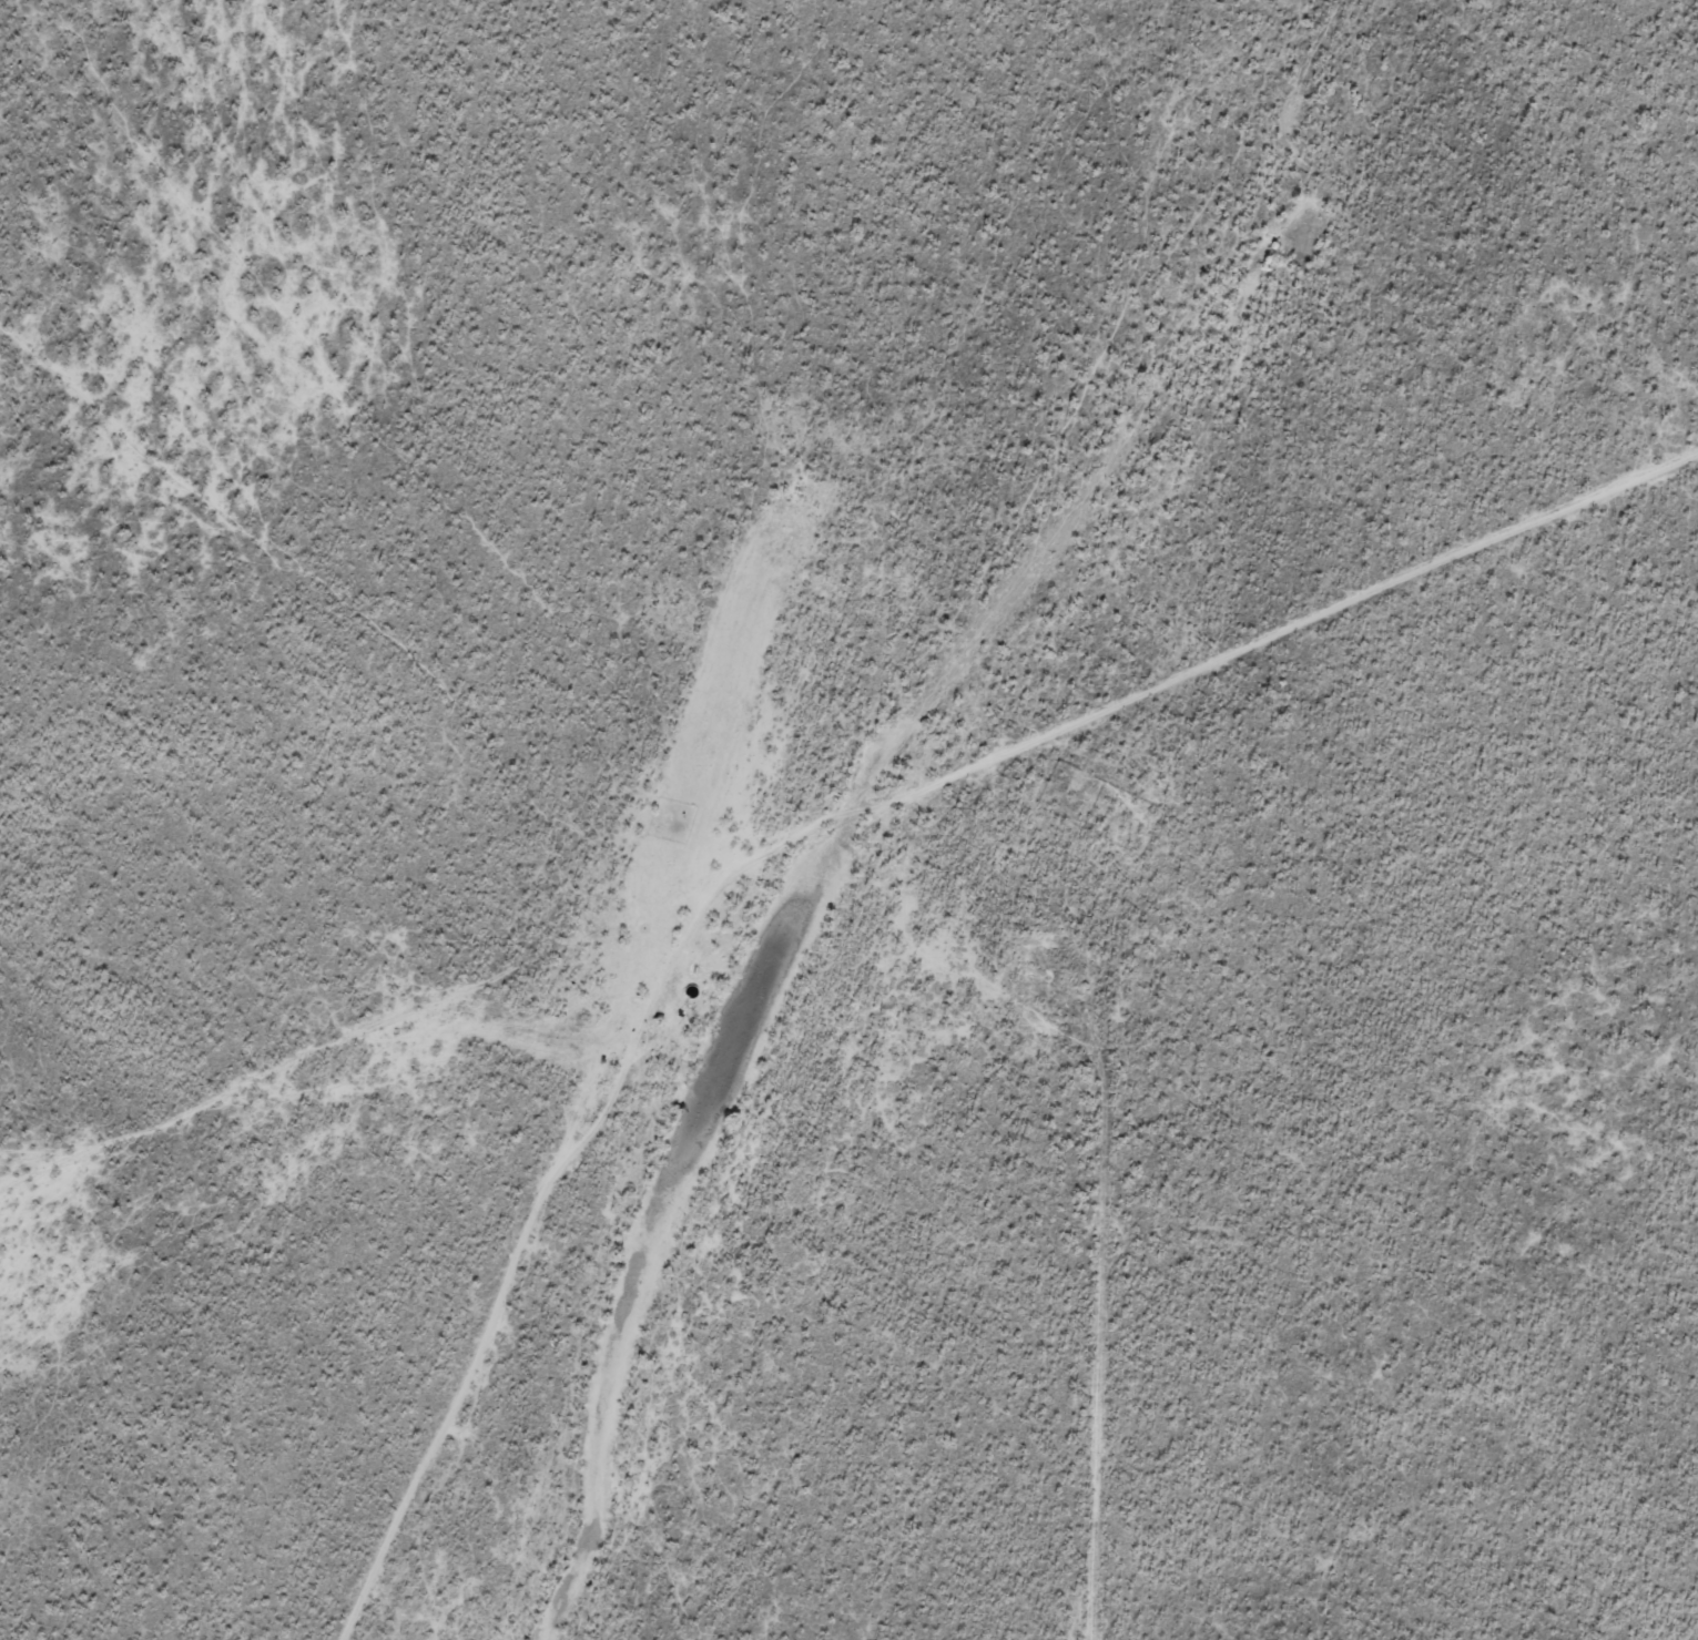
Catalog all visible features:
road: (820, 839)
road: (328, 1047)
road: (1081, 1349)

